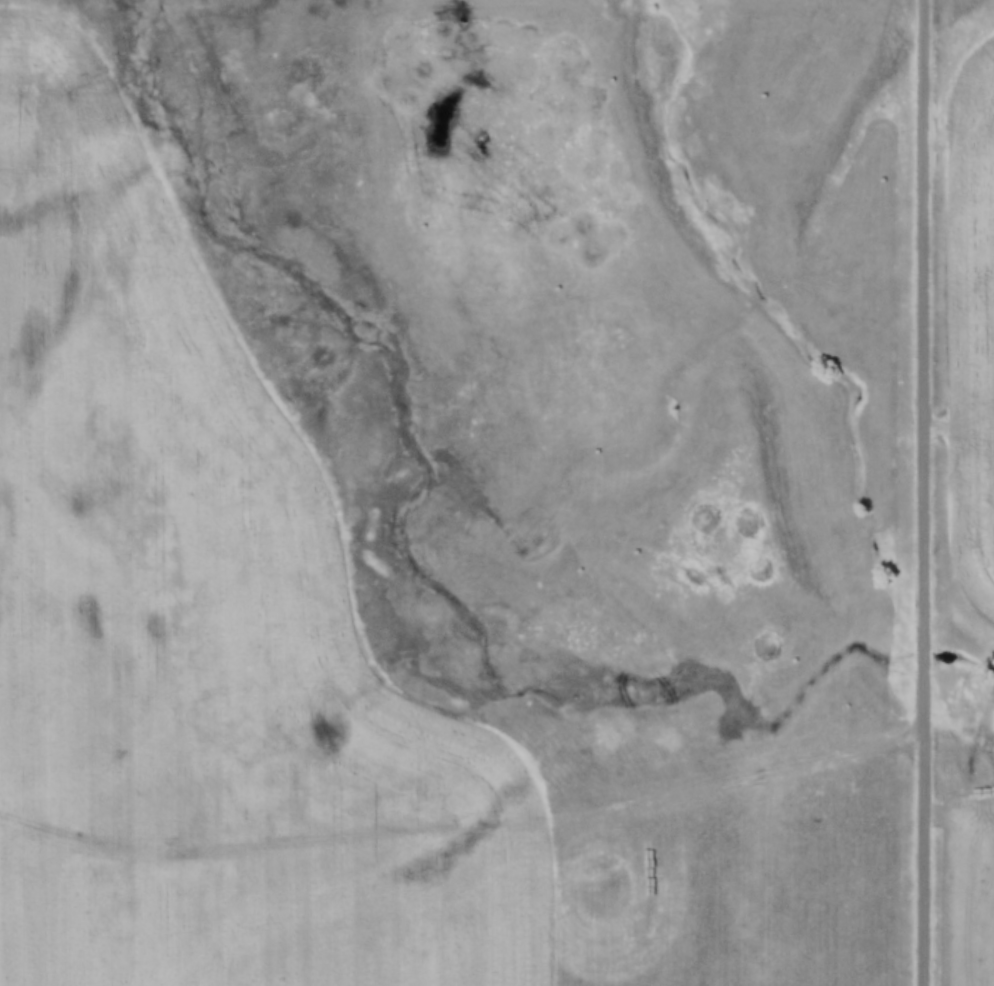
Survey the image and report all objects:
road: (929, 493)

